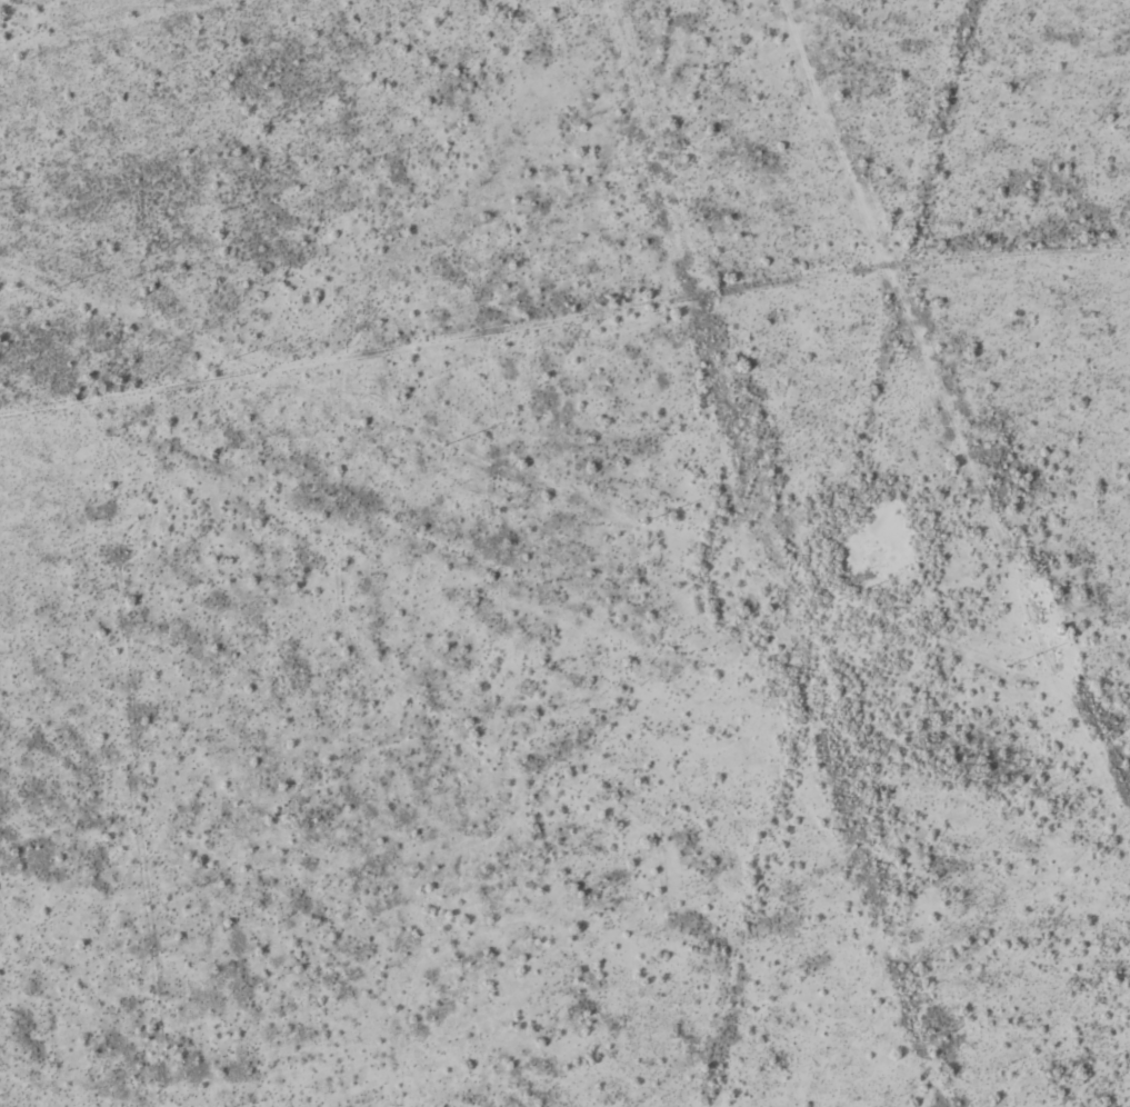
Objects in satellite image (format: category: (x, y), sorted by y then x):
power tower: (54, 290)
power tower: (232, 360)
power tower: (448, 445)
power tower: (644, 522)
power tower: (840, 600)
power tower: (1009, 667)

